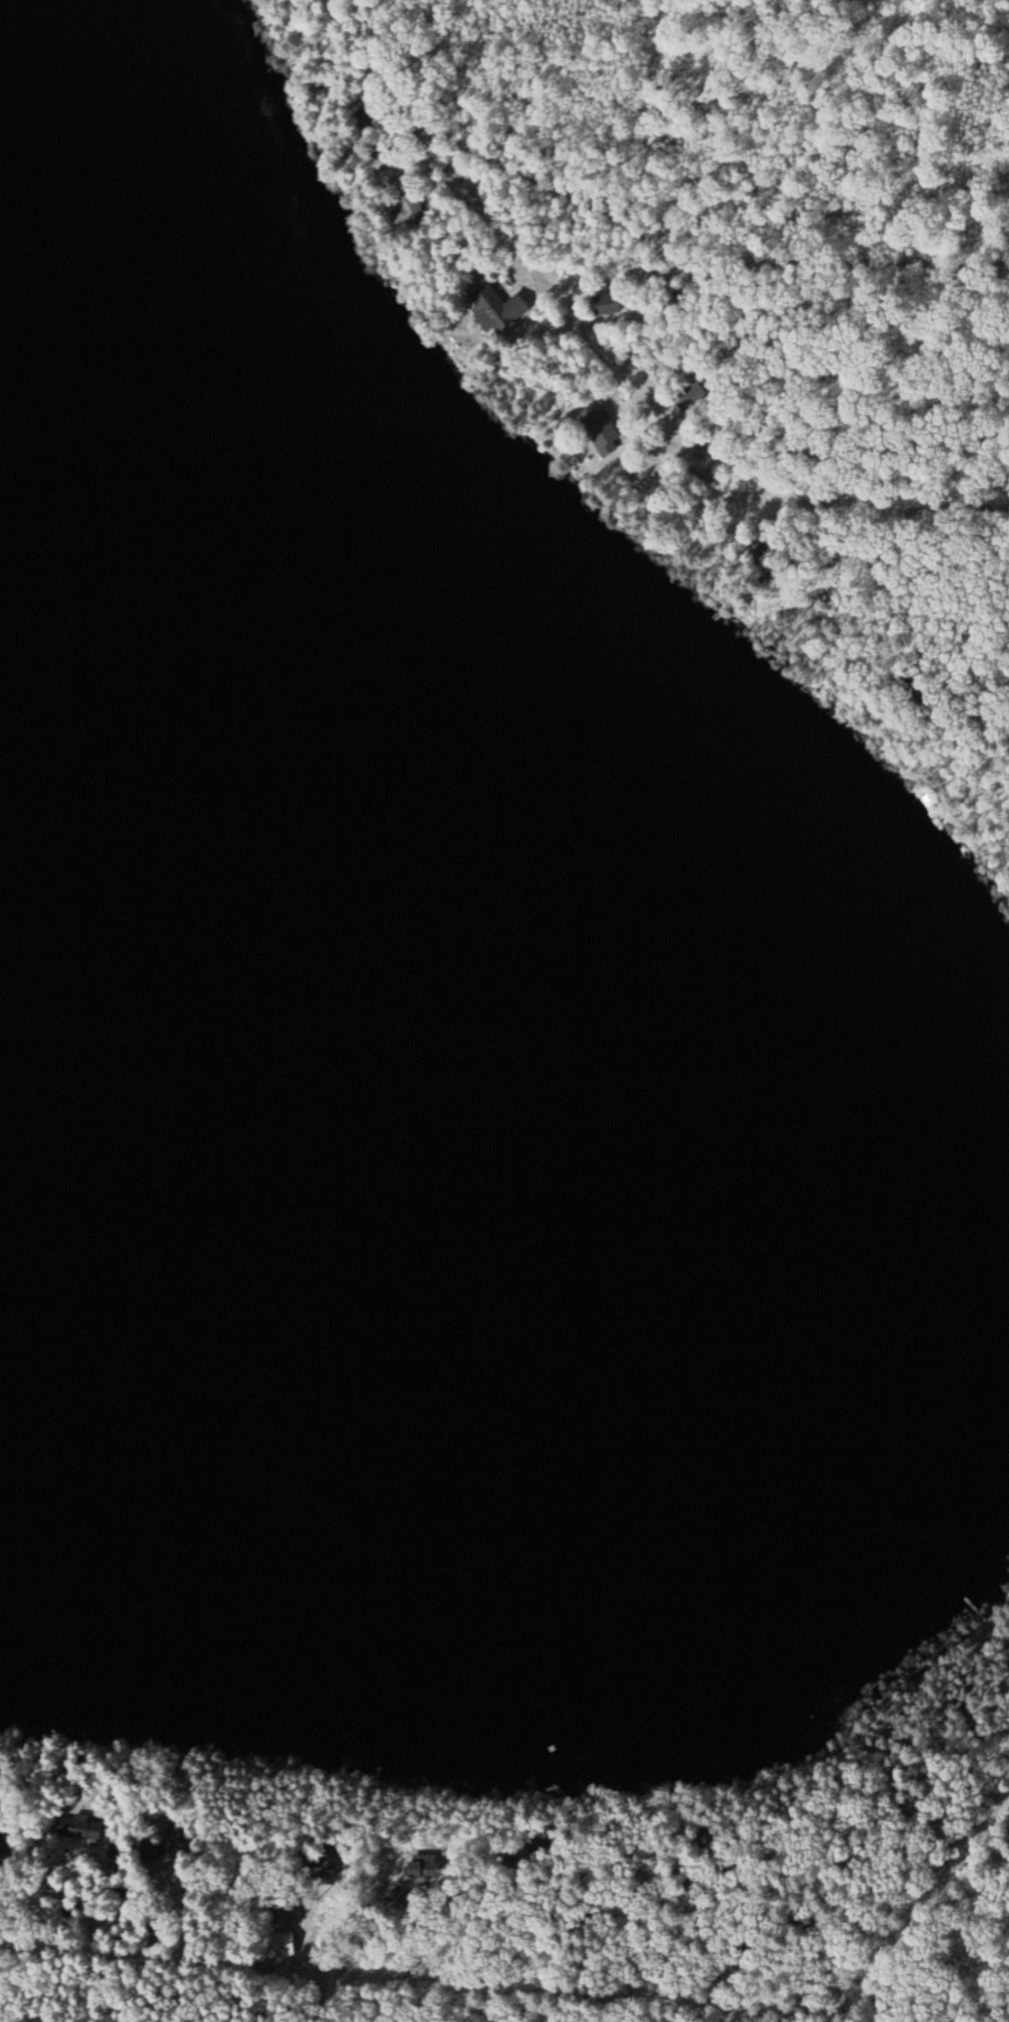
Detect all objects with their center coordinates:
road: (546, 98)
road: (485, 129)
road: (739, 170)
building: (466, 177)
building: (407, 213)
building: (607, 306)
building: (494, 310)
road: (889, 428)
building: (599, 430)
road: (757, 490)
road: (1002, 1781)
building: (70, 1829)
road: (620, 1924)
road: (94, 1958)
road: (361, 1968)
road: (192, 1969)
road: (699, 1976)

